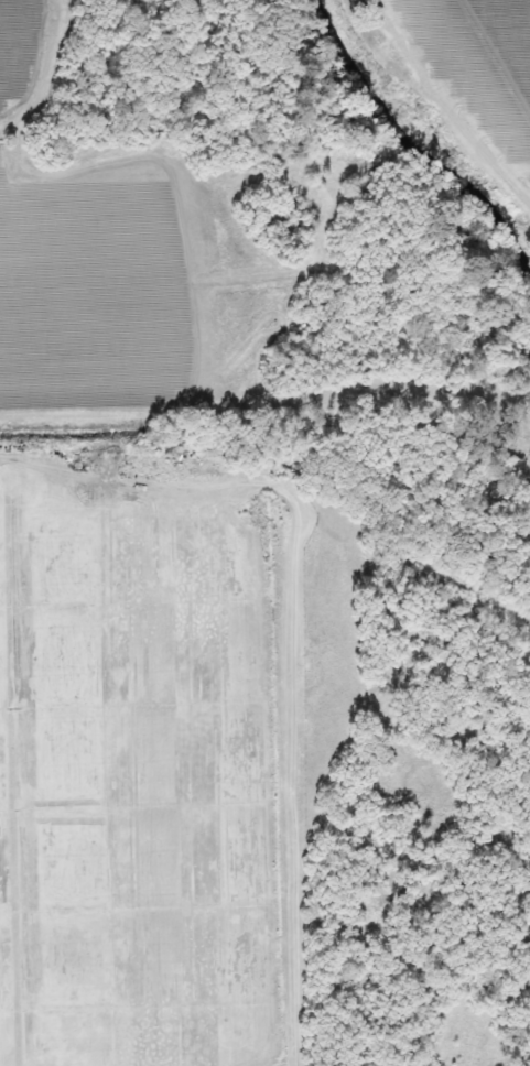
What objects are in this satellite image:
road: (147, 474)
road: (288, 784)

